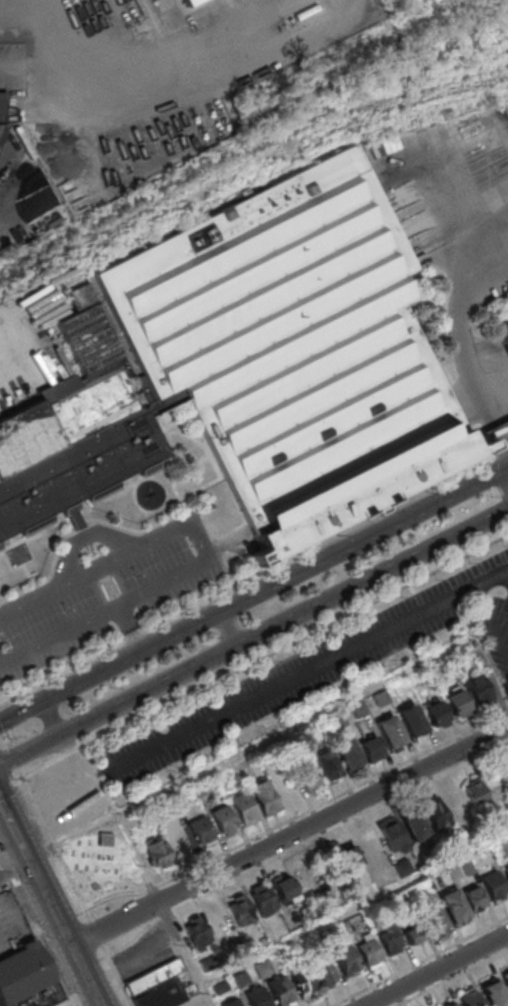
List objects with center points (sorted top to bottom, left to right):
building: (133, 25)
road: (260, 32)
building: (223, 35)
road: (314, 39)
building: (175, 109)
building: (3, 111)
road: (59, 137)
building: (483, 150)
building: (502, 327)
road: (463, 338)
building: (296, 352)
building: (61, 420)
road: (491, 428)
road: (502, 449)
building: (78, 471)
road: (209, 554)
road: (253, 574)
road: (506, 574)
parking lot: (105, 589)
road: (254, 599)
road: (491, 620)
road: (232, 629)
road: (133, 632)
road: (253, 637)
road: (333, 658)
parking lot: (322, 670)
building: (477, 690)
building: (457, 704)
road: (48, 713)
building: (435, 714)
building: (413, 723)
building: (391, 734)
building: (372, 750)
road: (247, 751)
building: (347, 754)
road: (10, 755)
building: (506, 763)
building: (326, 765)
building: (308, 778)
road: (10, 786)
building: (476, 793)
building: (264, 798)
building: (457, 805)
building: (243, 809)
road: (299, 816)
building: (435, 816)
building: (223, 822)
building: (415, 827)
road: (8, 831)
building: (201, 831)
road: (291, 837)
building: (392, 838)
road: (305, 846)
road: (56, 849)
building: (372, 851)
building: (157, 852)
building: (340, 861)
road: (16, 868)
building: (507, 871)
building: (283, 888)
building: (496, 888)
building: (262, 899)
building: (474, 899)
road: (52, 900)
building: (240, 909)
road: (355, 909)
building: (456, 909)
road: (165, 910)
building: (433, 918)
building: (219, 920)
parking lot: (12, 927)
building: (197, 931)
building: (412, 933)
building: (388, 941)
building: (367, 953)
building: (346, 959)
road: (422, 963)
building: (262, 968)
road: (437, 970)
building: (324, 974)
building: (156, 978)
building: (506, 979)
building: (28, 980)
building: (303, 983)
building: (281, 992)
building: (493, 993)
building: (169, 994)
building: (258, 998)
building: (468, 999)
building: (234, 1004)
building: (450, 1004)

